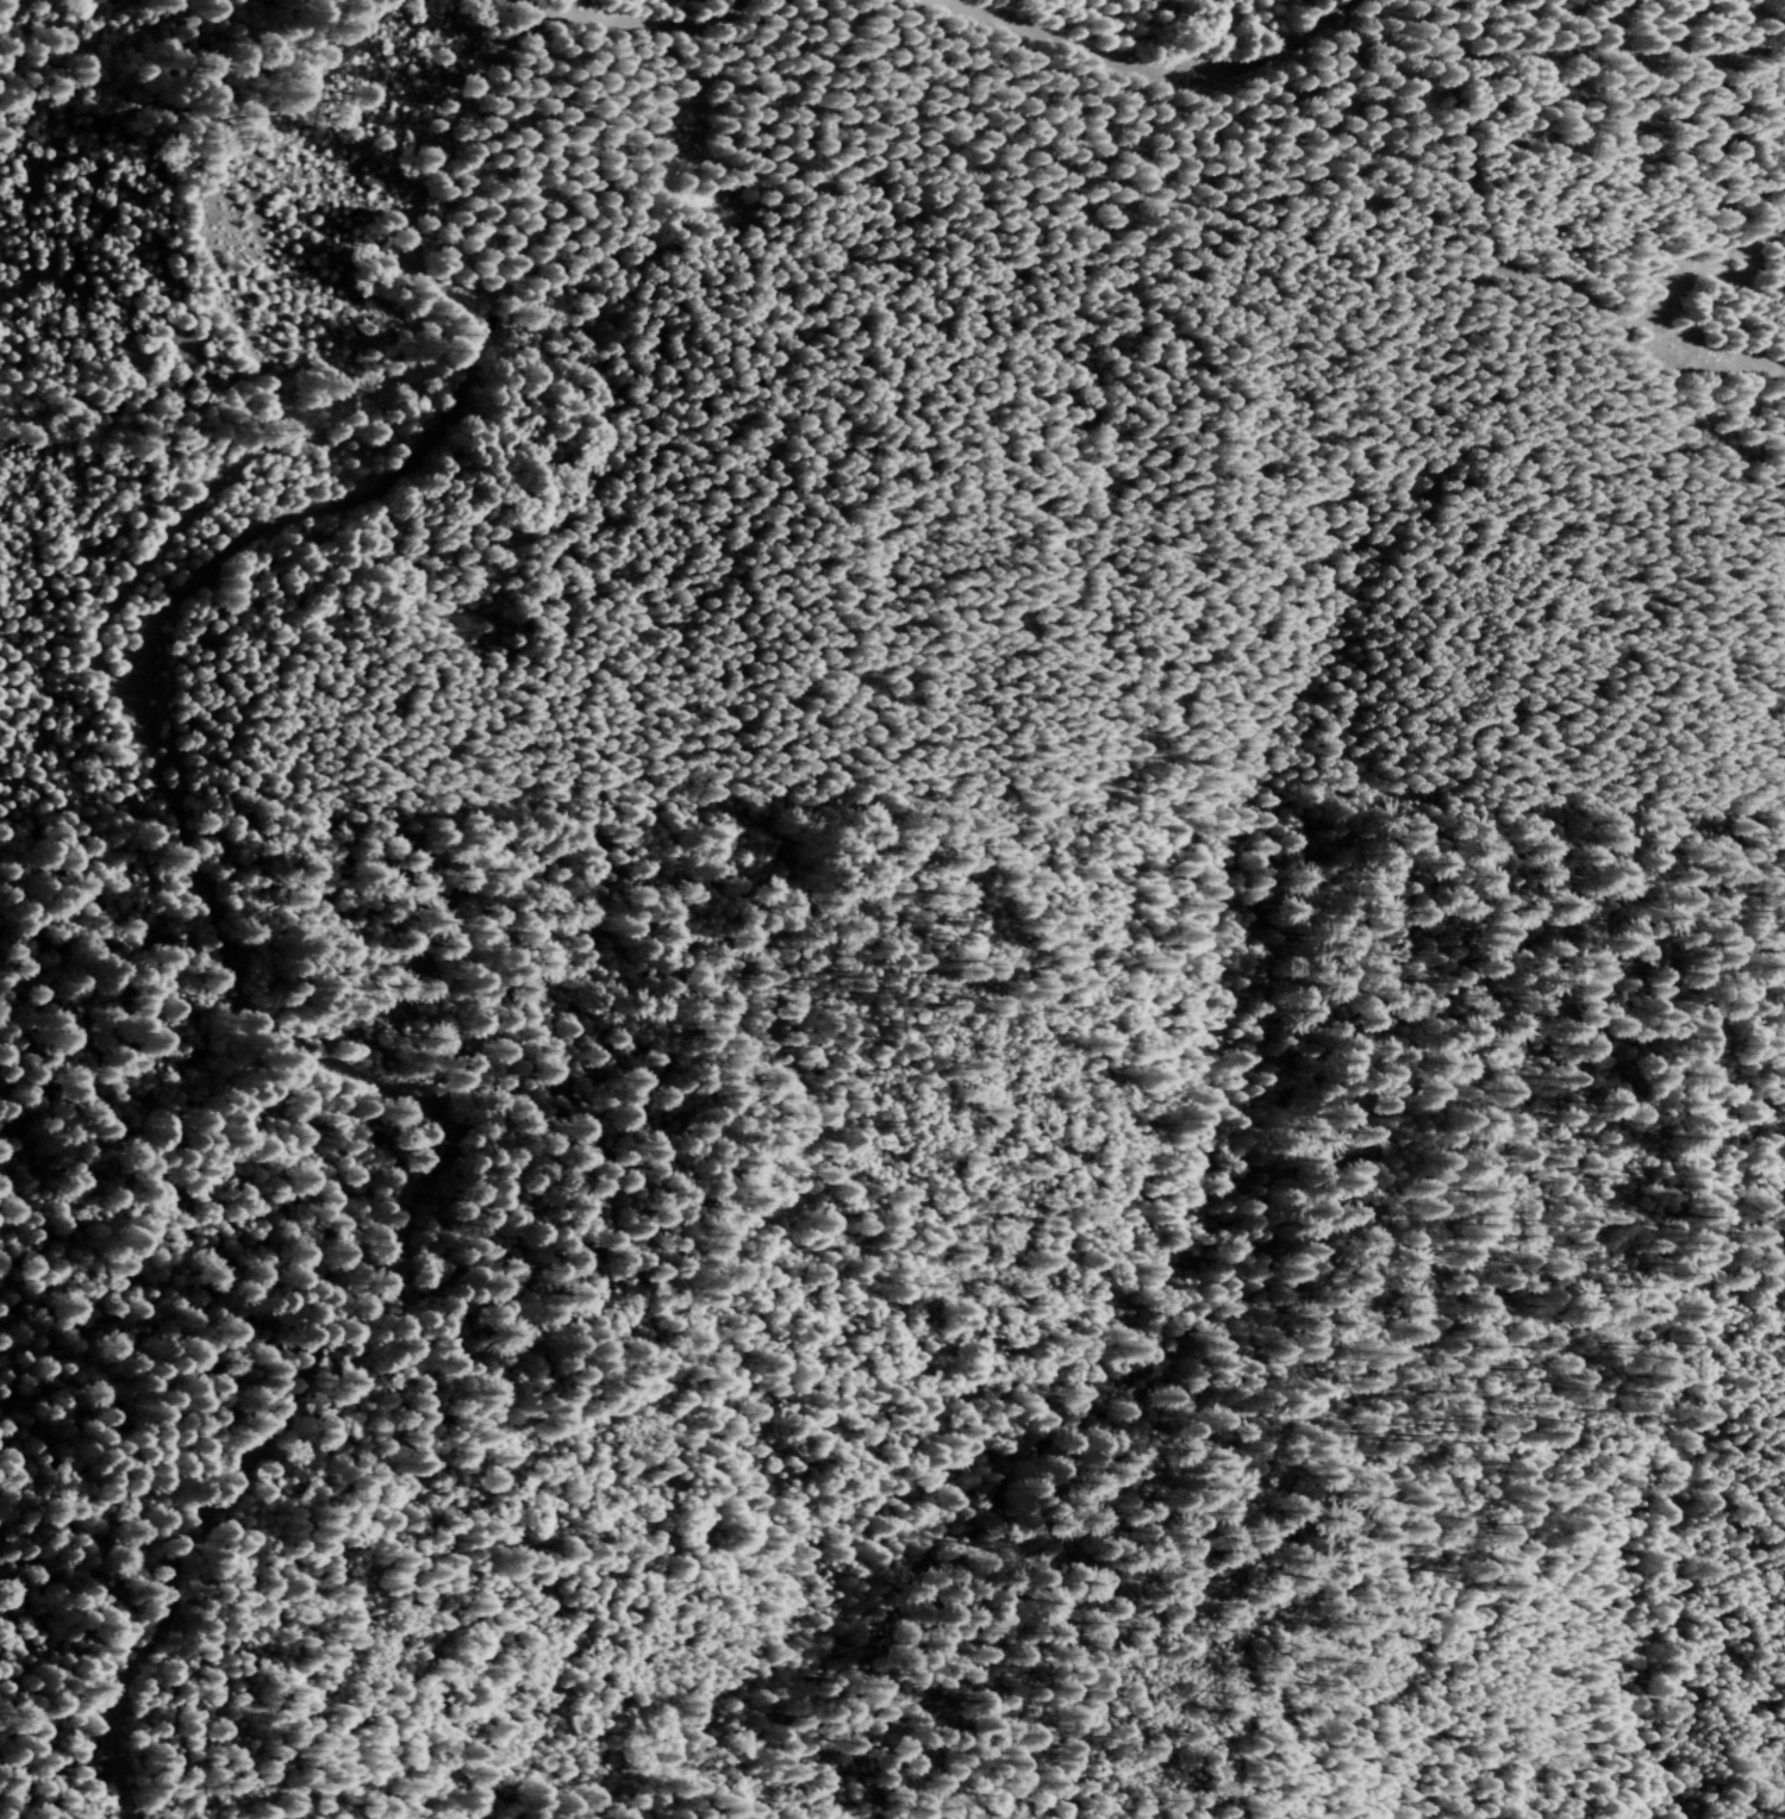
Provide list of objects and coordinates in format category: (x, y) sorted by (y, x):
road: (1146, 56)
park: (776, 821)
road: (195, 857)
park: (854, 874)

